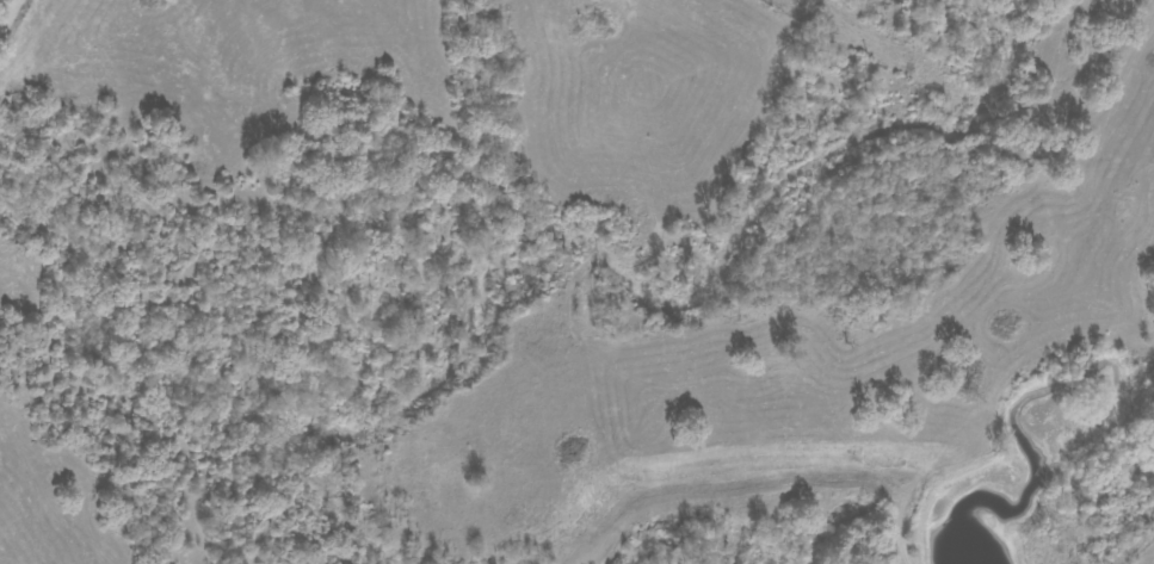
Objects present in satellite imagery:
road: (6, 11)

